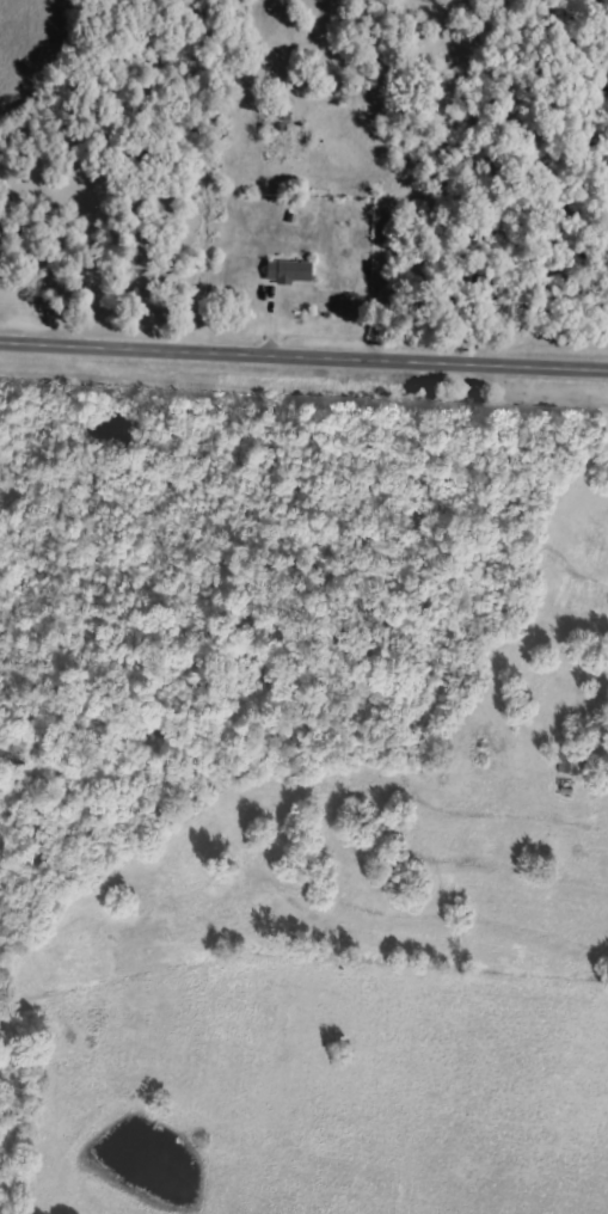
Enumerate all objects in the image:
road: (237, 179)
building: (288, 272)
road: (303, 354)
building: (571, 766)

